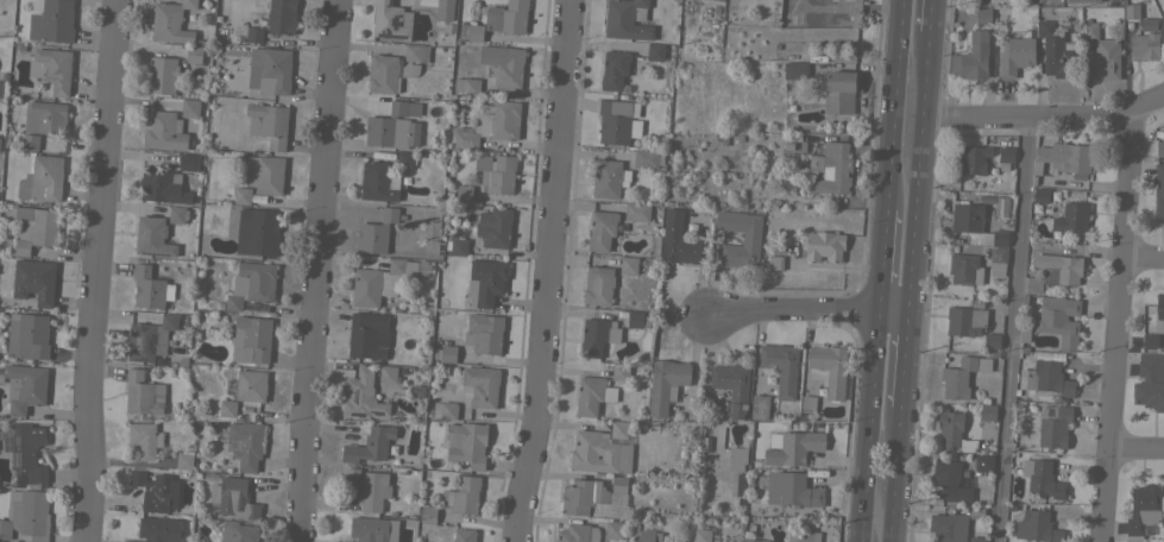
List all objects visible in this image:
building: (1083, 0)
building: (443, 10)
building: (1131, 10)
building: (1163, 13)
building: (281, 15)
building: (982, 15)
building: (508, 17)
road: (930, 17)
building: (795, 18)
building: (627, 19)
building: (390, 20)
rooftop solar panel: (394, 20)
building: (52, 21)
building: (170, 21)
building: (1147, 23)
building: (470, 31)
building: (258, 34)
rooftop solar panel: (388, 34)
building: (1145, 45)
building: (654, 51)
building: (1056, 51)
building: (194, 53)
building: (1015, 53)
building: (1101, 53)
building: (973, 56)
building: (502, 64)
building: (52, 68)
building: (394, 68)
building: (271, 69)
building: (614, 69)
building: (795, 70)
building: (162, 75)
building: (2, 84)
building: (466, 86)
building: (838, 90)
road: (888, 105)
building: (190, 108)
building: (48, 116)
road: (1044, 118)
building: (616, 120)
building: (268, 122)
building: (490, 124)
building: (391, 127)
building: (164, 131)
building: (30, 141)
building: (0, 145)
building: (1159, 147)
building: (1006, 153)
building: (1063, 157)
building: (644, 158)
building: (404, 159)
building: (973, 159)
building: (188, 160)
building: (830, 168)
road: (917, 170)
building: (496, 172)
building: (265, 174)
building: (608, 177)
building: (42, 179)
building: (378, 182)
building: (787, 183)
building: (163, 185)
building: (1158, 190)
building: (464, 193)
building: (241, 195)
building: (1040, 195)
building: (975, 197)
building: (988, 203)
building: (1002, 207)
building: (637, 210)
building: (176, 214)
building: (1071, 216)
building: (974, 225)
building: (36, 228)
building: (495, 229)
building: (602, 229)
building: (257, 232)
building: (376, 232)
rooftop solar panel: (143, 233)
building: (152, 237)
building: (750, 237)
building: (677, 240)
building: (824, 245)
building: (458, 246)
rooftop solar panel: (155, 253)
road: (1145, 254)
building: (998, 256)
road: (876, 259)
building: (775, 261)
building: (628, 264)
building: (964, 269)
road: (97, 271)
road: (316, 271)
road: (547, 271)
building: (1055, 271)
building: (996, 272)
building: (385, 279)
building: (34, 281)
building: (485, 281)
rooftop solar panel: (33, 283)
building: (251, 284)
building: (598, 285)
building: (150, 288)
road: (808, 307)
building: (1159, 307)
building: (637, 319)
building: (965, 320)
building: (1059, 320)
rooftop solar panel: (144, 324)
road: (1121, 327)
road: (1015, 329)
building: (484, 333)
building: (367, 335)
building: (597, 335)
building: (1023, 335)
building: (27, 336)
building: (150, 338)
building: (251, 339)
building: (992, 340)
rooftop solar panel: (139, 341)
rooftop solar panel: (150, 341)
building: (1149, 341)
building: (445, 353)
rooftop solar panel: (143, 357)
road: (906, 358)
building: (781, 367)
building: (830, 368)
building: (619, 372)
building: (388, 373)
building: (962, 376)
building: (1045, 378)
building: (1150, 380)
building: (665, 383)
building: (250, 385)
building: (480, 385)
building: (24, 386)
building: (732, 386)
building: (143, 393)
rooftop solar panel: (356, 395)
building: (361, 395)
building: (592, 395)
building: (807, 403)
building: (759, 406)
building: (227, 408)
building: (445, 409)
rooftop solar panel: (375, 411)
rooftop solar panel: (357, 412)
building: (987, 412)
road: (863, 424)
building: (1053, 426)
rooftop solar panel: (14, 430)
building: (952, 431)
building: (144, 439)
rooftop solar panel: (17, 440)
rooftop solar panel: (8, 442)
building: (245, 443)
building: (466, 443)
building: (370, 445)
building: (792, 447)
road: (1138, 447)
building: (602, 449)
building: (27, 452)
building: (736, 458)
rooftop solar panel: (14, 459)
building: (184, 461)
building: (982, 462)
road: (896, 474)
building: (1042, 478)
building: (950, 481)
building: (618, 484)
building: (369, 487)
building: (156, 490)
building: (792, 490)
building: (463, 496)
building: (581, 496)
building: (233, 498)
building: (1144, 509)
building: (428, 513)
building: (26, 515)
building: (952, 524)
building: (1036, 527)
building: (159, 529)
building: (370, 529)
building: (612, 529)
building: (238, 531)
building: (577, 532)
building: (464, 535)
building: (700, 535)
building: (799, 535)
building: (649, 536)
building: (977, 538)
building: (754, 540)
building: (130, 541)
building: (339, 541)

